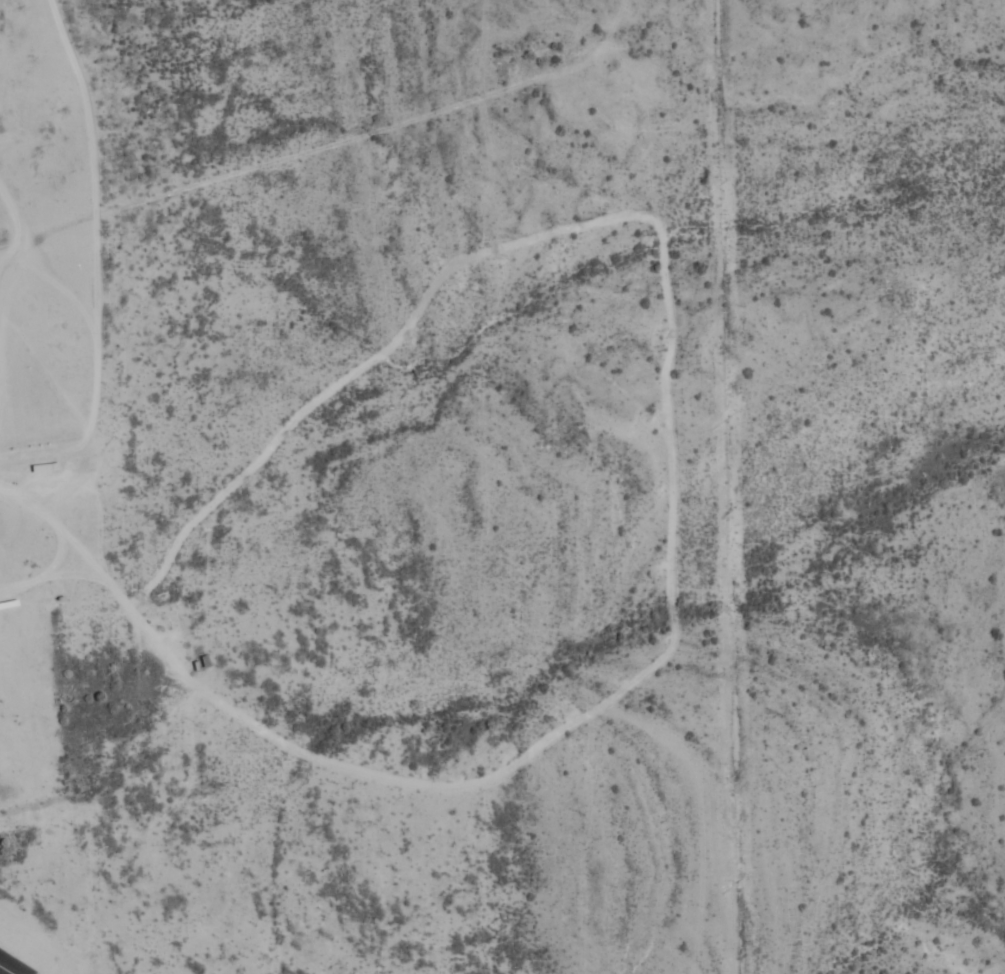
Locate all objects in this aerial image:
park: (855, 227)

